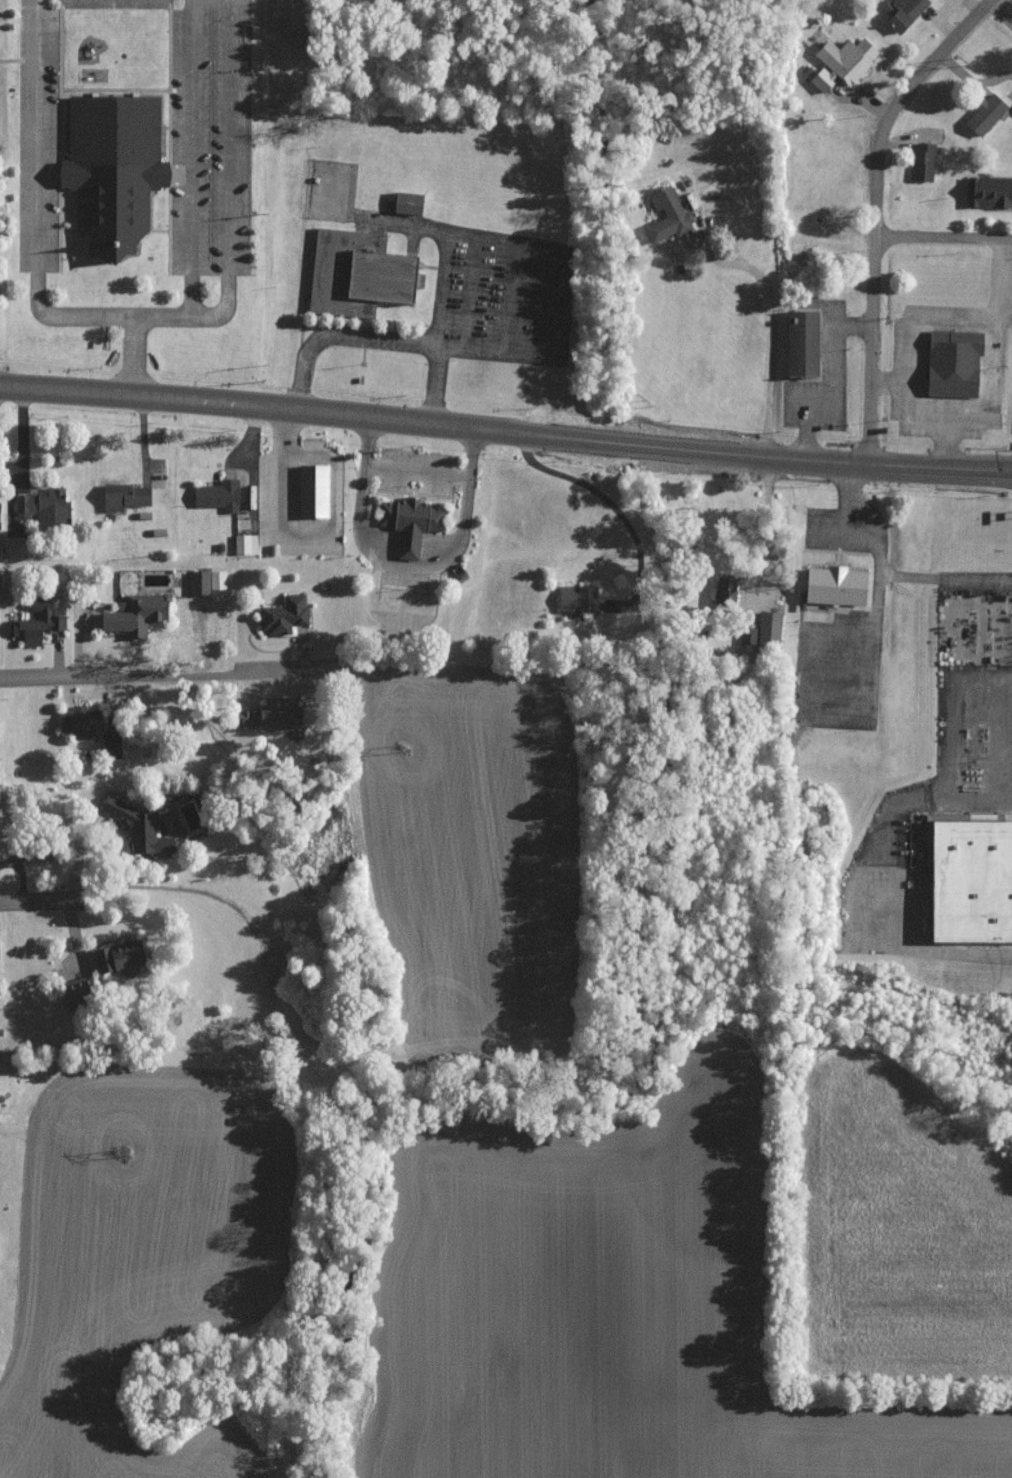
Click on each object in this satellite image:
parking lot: (116, 4)
building: (902, 12)
building: (841, 62)
building: (984, 113)
parking lot: (39, 137)
parking lot: (209, 151)
road: (39, 152)
road: (228, 153)
road: (193, 158)
building: (922, 161)
building: (113, 169)
parking lot: (332, 191)
building: (987, 191)
building: (408, 203)
road: (874, 209)
building: (666, 215)
road: (466, 234)
road: (943, 234)
building: (357, 274)
road: (444, 288)
road: (472, 292)
parking lot: (496, 295)
road: (510, 298)
road: (556, 304)
road: (84, 317)
road: (151, 318)
road: (775, 333)
road: (380, 339)
parking lot: (833, 341)
building: (803, 344)
road: (494, 351)
parking lot: (311, 363)
building: (954, 364)
parking lot: (909, 371)
road: (829, 378)
road: (888, 382)
road: (948, 416)
parking lot: (1011, 418)
road: (505, 423)
road: (274, 426)
road: (22, 428)
road: (946, 438)
road: (297, 454)
road: (417, 472)
building: (313, 491)
road: (596, 494)
building: (216, 495)
building: (123, 496)
road: (274, 496)
road: (851, 496)
building: (43, 507)
road: (334, 515)
road: (767, 521)
building: (411, 524)
parking lot: (834, 532)
building: (244, 544)
road: (408, 573)
road: (897, 574)
building: (198, 582)
building: (835, 586)
building: (728, 592)
building: (576, 598)
building: (132, 614)
building: (283, 615)
building: (36, 626)
building: (762, 629)
road: (168, 672)
parking lot: (838, 673)
building: (267, 717)
building: (79, 721)
parking lot: (1006, 735)
road: (992, 736)
road: (948, 739)
building: (110, 745)
road: (890, 807)
building: (135, 827)
building: (970, 878)
road: (33, 903)
road: (905, 944)
building: (115, 957)

